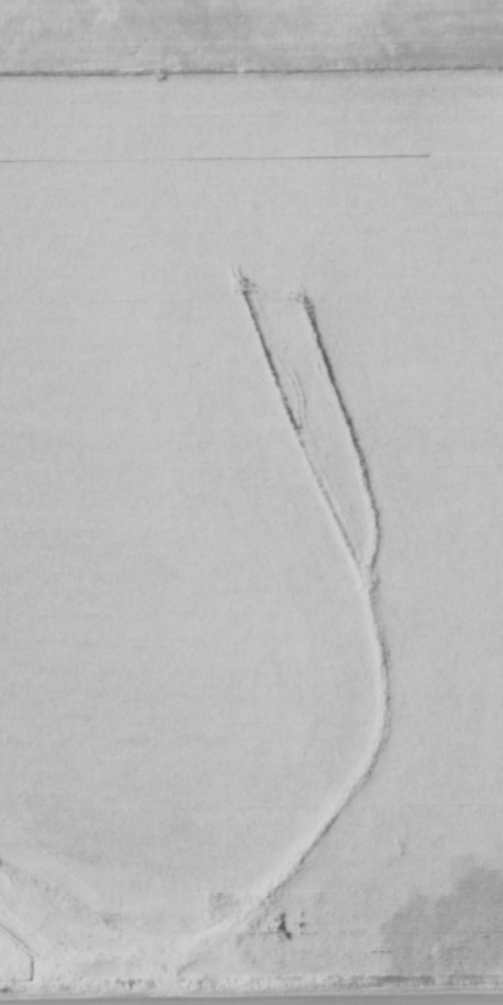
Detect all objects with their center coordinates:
road: (332, 1002)

